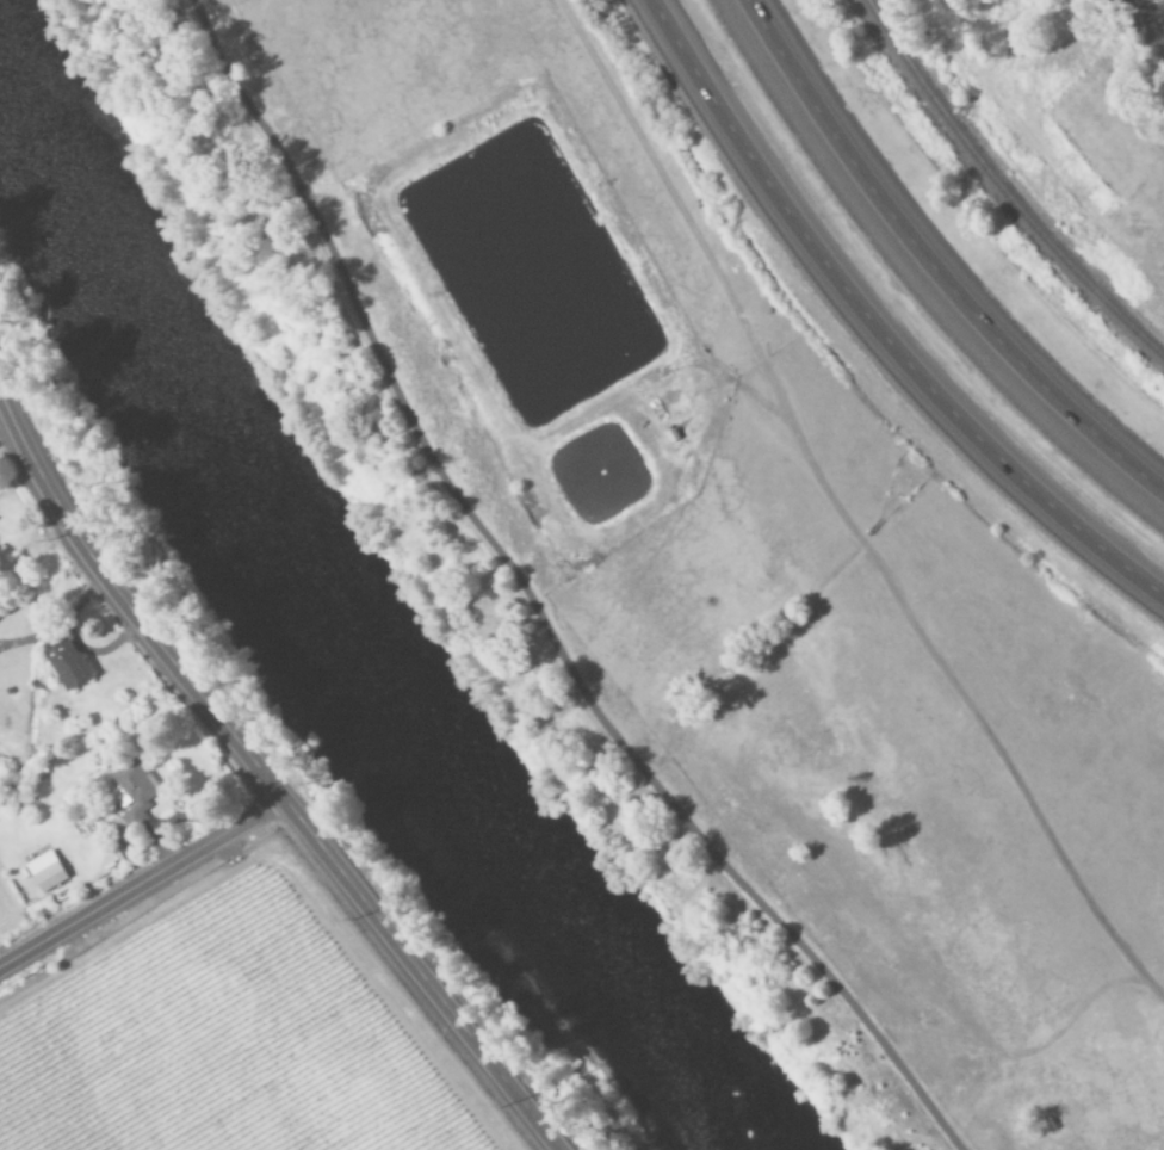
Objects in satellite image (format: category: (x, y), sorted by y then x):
road: (1145, 19)
railway: (999, 209)
road: (931, 266)
road: (874, 326)
river: (333, 600)
road: (532, 602)
building: (63, 664)
road: (240, 774)
building: (130, 797)
building: (43, 873)
road: (137, 897)

